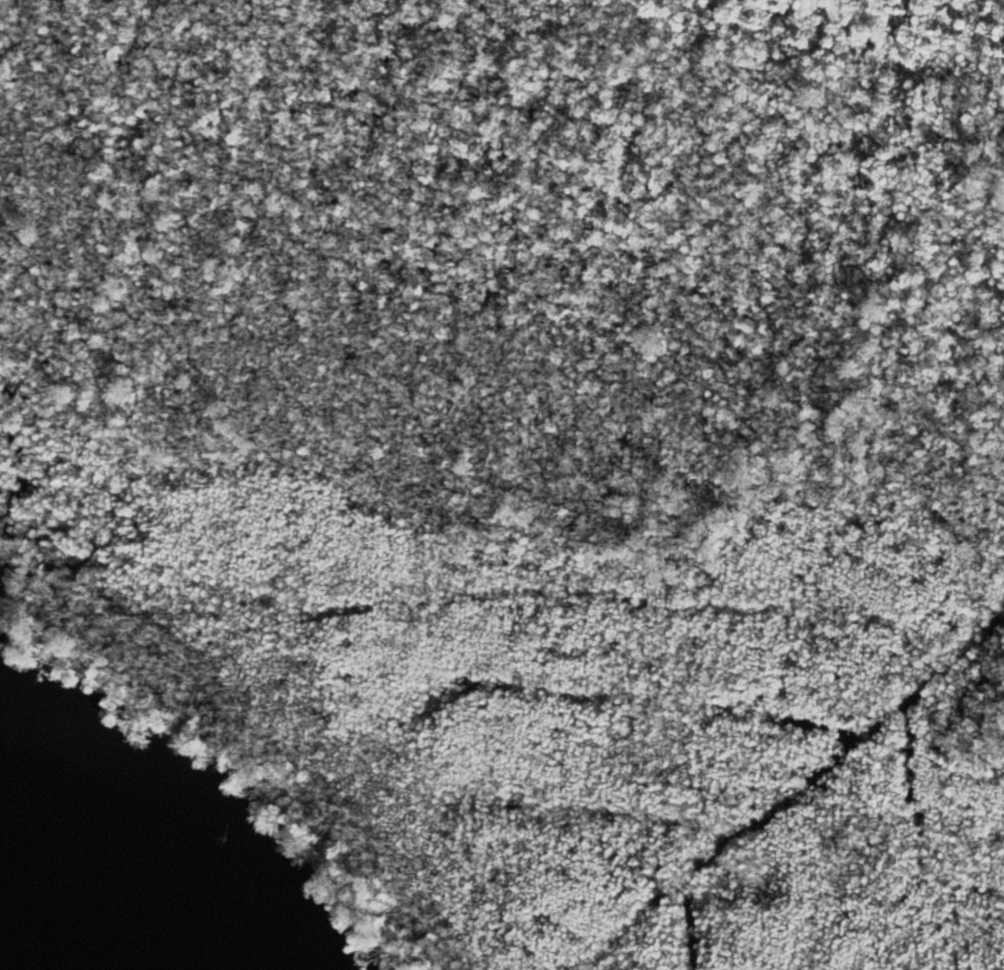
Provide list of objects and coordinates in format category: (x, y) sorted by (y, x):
river: (82, 901)

